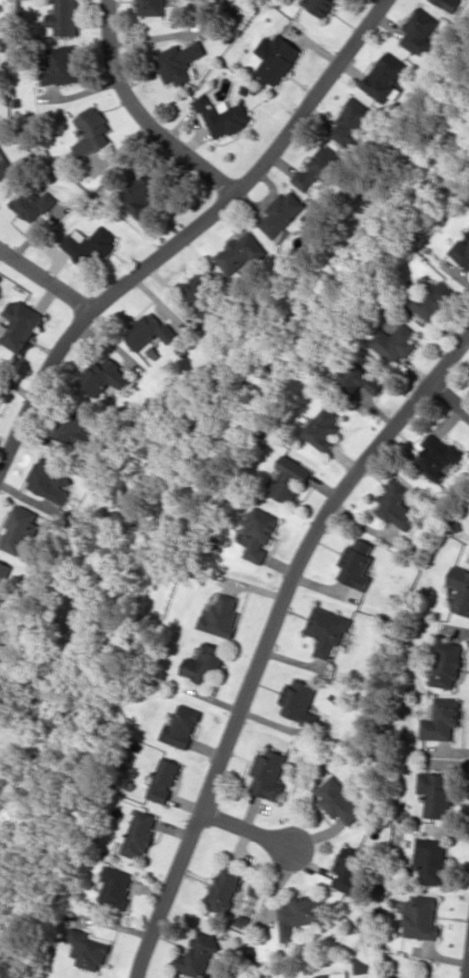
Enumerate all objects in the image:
building: (339, 0)
building: (450, 4)
building: (320, 6)
building: (152, 7)
building: (65, 17)
building: (419, 33)
building: (276, 57)
building: (179, 62)
building: (61, 65)
building: (385, 77)
road: (148, 108)
building: (223, 116)
building: (351, 123)
building: (91, 131)
building: (4, 165)
building: (317, 169)
building: (139, 195)
building: (34, 202)
building: (282, 213)
building: (312, 216)
road: (179, 233)
building: (87, 244)
building: (461, 251)
building: (241, 253)
road: (41, 283)
building: (200, 291)
building: (434, 299)
building: (19, 324)
building: (149, 331)
building: (395, 342)
building: (105, 377)
building: (358, 378)
road: (451, 399)
building: (322, 428)
building: (75, 431)
river: (185, 456)
building: (437, 456)
building: (289, 479)
building: (50, 480)
building: (396, 504)
building: (20, 529)
building: (260, 534)
building: (356, 563)
building: (4, 579)
building: (460, 588)
building: (221, 615)
building: (327, 629)
road: (267, 639)
building: (447, 662)
building: (205, 664)
building: (298, 702)
building: (442, 718)
building: (181, 726)
building: (268, 774)
building: (164, 780)
building: (437, 793)
building: (339, 801)
road: (249, 829)
building: (140, 834)
building: (431, 860)
building: (350, 872)
building: (116, 886)
building: (224, 887)
building: (301, 914)
building: (421, 917)
building: (87, 949)
building: (198, 954)
building: (361, 965)
road: (467, 973)
building: (332, 975)

